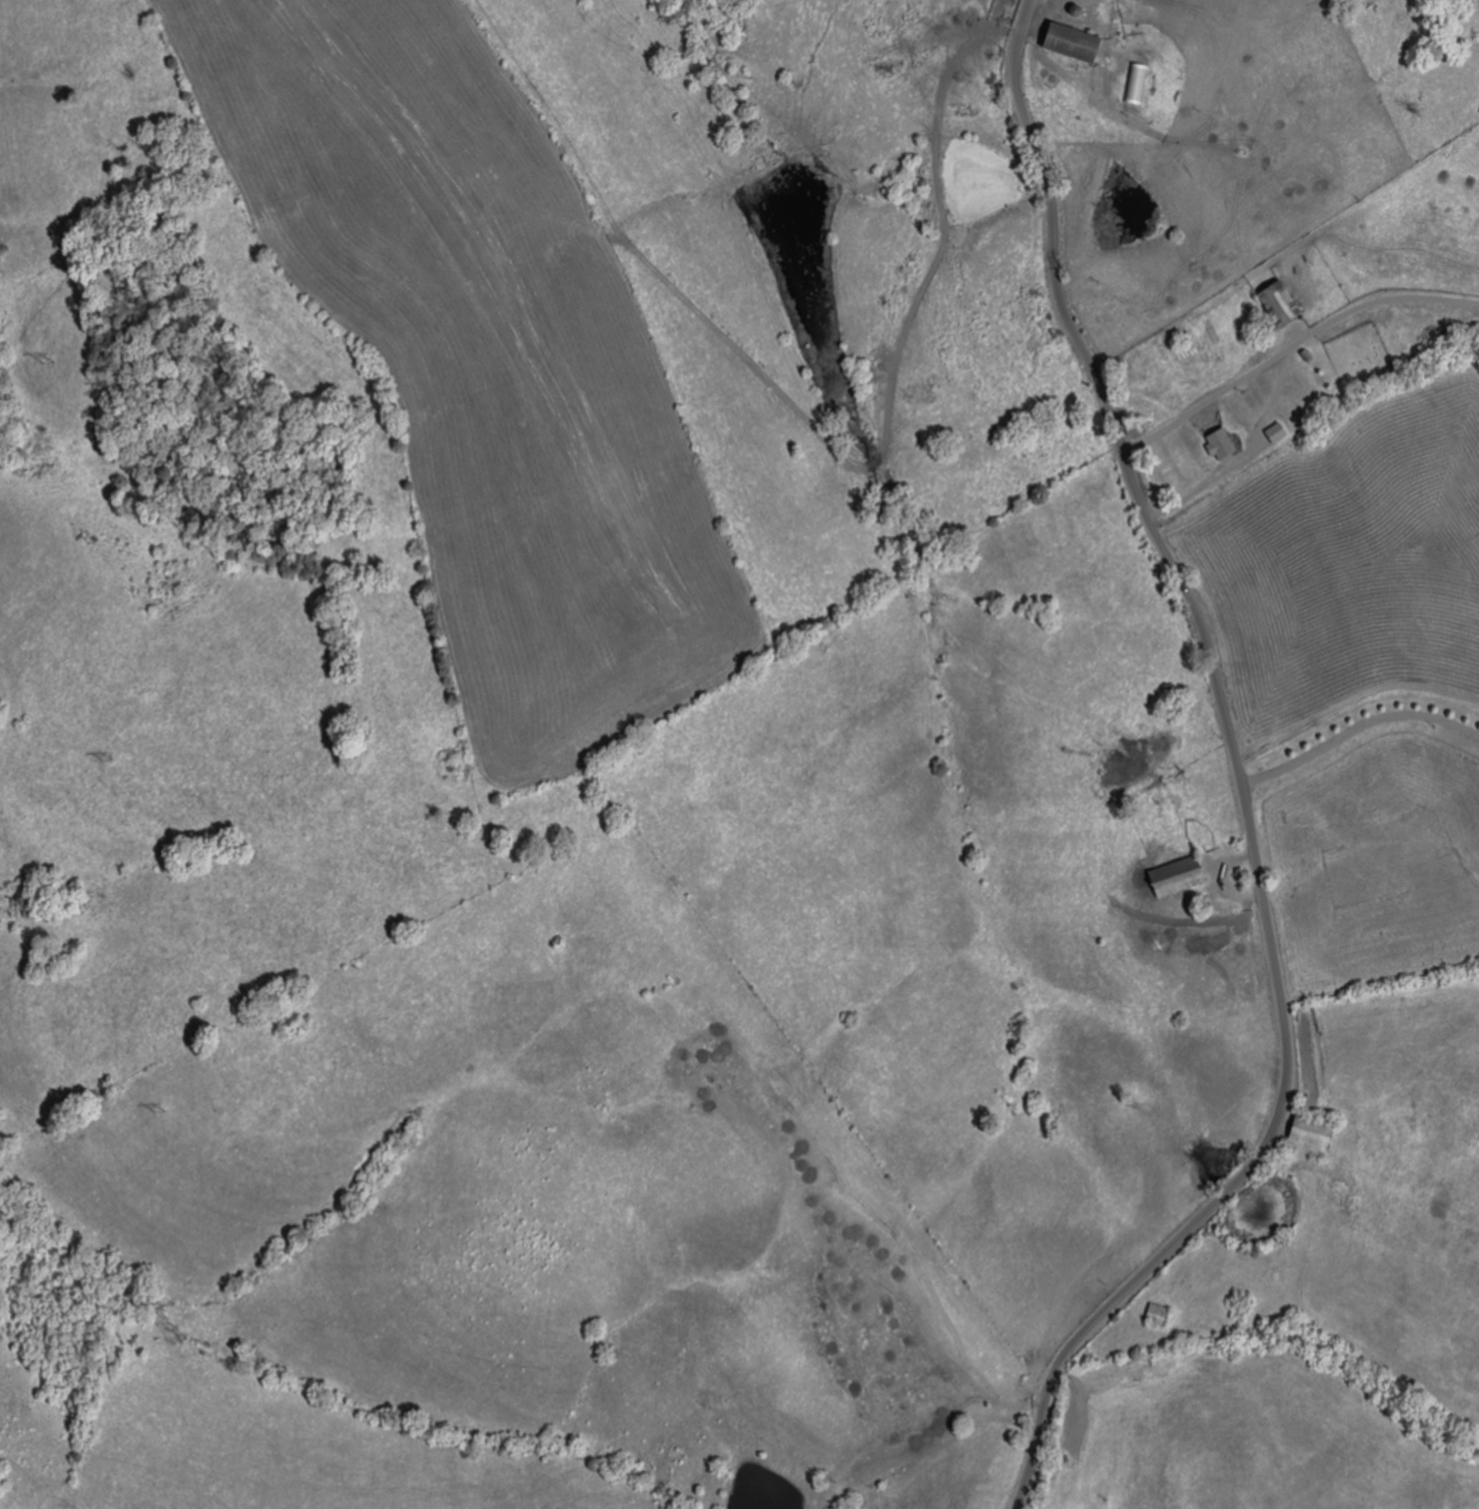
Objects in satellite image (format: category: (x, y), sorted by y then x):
building: (1080, 45)
building: (1286, 304)
road: (1290, 340)
building: (1223, 445)
road: (1242, 449)
road: (1240, 781)
building: (1180, 877)
building: (1316, 1138)
building: (1161, 1316)

